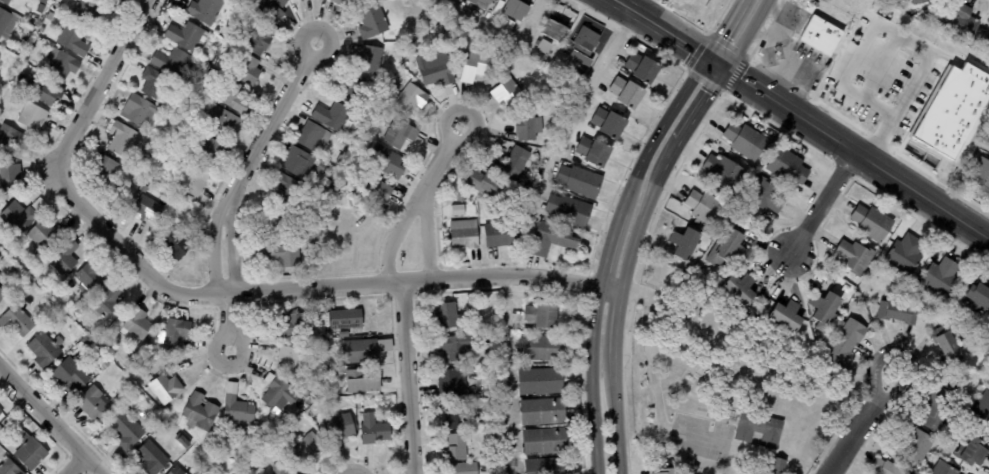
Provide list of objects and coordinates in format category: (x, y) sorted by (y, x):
building: (299, 0)
building: (7, 1)
building: (112, 1)
building: (917, 1)
building: (348, 2)
building: (482, 3)
building: (810, 7)
building: (273, 9)
building: (517, 9)
building: (208, 10)
building: (89, 15)
building: (51, 16)
building: (374, 22)
road: (530, 22)
building: (955, 22)
building: (8, 23)
building: (509, 26)
road: (660, 27)
road: (778, 27)
road: (723, 28)
building: (440, 30)
building: (553, 30)
building: (41, 33)
road: (745, 34)
building: (190, 35)
road: (901, 35)
building: (234, 36)
building: (820, 36)
building: (263, 39)
building: (75, 40)
building: (986, 41)
road: (515, 42)
building: (25, 44)
building: (545, 46)
building: (33, 48)
building: (584, 49)
building: (26, 58)
building: (373, 60)
building: (174, 61)
road: (715, 62)
road: (800, 63)
building: (64, 64)
building: (476, 65)
building: (643, 68)
building: (249, 69)
building: (440, 73)
building: (211, 77)
building: (156, 83)
building: (355, 88)
building: (45, 93)
building: (510, 93)
building: (628, 93)
building: (235, 96)
building: (413, 100)
building: (951, 108)
building: (140, 110)
road: (578, 110)
building: (34, 117)
road: (273, 117)
building: (334, 117)
building: (222, 121)
building: (610, 124)
road: (662, 124)
building: (528, 125)
building: (186, 126)
building: (401, 135)
building: (315, 136)
building: (162, 137)
building: (13, 139)
building: (125, 140)
building: (743, 140)
building: (988, 142)
building: (182, 148)
building: (212, 152)
building: (595, 152)
road: (856, 153)
road: (440, 158)
building: (180, 160)
building: (342, 160)
building: (300, 162)
building: (389, 162)
building: (518, 162)
building: (784, 166)
building: (324, 168)
building: (106, 169)
building: (722, 173)
building: (373, 175)
building: (981, 177)
building: (11, 178)
building: (194, 179)
building: (582, 181)
building: (492, 186)
building: (286, 188)
building: (384, 190)
building: (763, 196)
building: (463, 199)
road: (822, 203)
building: (703, 207)
building: (149, 210)
building: (460, 210)
building: (572, 211)
building: (485, 213)
building: (21, 218)
building: (734, 218)
building: (277, 222)
building: (870, 222)
road: (395, 232)
road: (427, 234)
building: (465, 235)
building: (499, 235)
building: (49, 236)
building: (554, 238)
road: (609, 239)
road: (212, 241)
road: (233, 243)
building: (177, 244)
building: (683, 244)
building: (728, 250)
building: (904, 254)
building: (66, 257)
building: (286, 257)
building: (852, 257)
road: (628, 259)
building: (939, 278)
building: (92, 279)
building: (842, 286)
road: (610, 287)
building: (737, 288)
road: (200, 294)
building: (3, 295)
building: (975, 296)
building: (82, 305)
building: (111, 306)
building: (823, 310)
building: (895, 313)
building: (935, 313)
building: (448, 316)
building: (784, 316)
building: (924, 317)
building: (539, 318)
building: (348, 319)
building: (19, 320)
road: (226, 321)
building: (139, 323)
building: (295, 326)
building: (324, 331)
building: (178, 332)
building: (346, 335)
building: (843, 340)
building: (87, 341)
building: (943, 346)
building: (457, 348)
building: (542, 348)
building: (47, 349)
building: (366, 350)
building: (324, 353)
building: (135, 358)
building: (289, 360)
building: (311, 369)
building: (73, 373)
road: (505, 374)
road: (407, 377)
road: (591, 379)
building: (544, 381)
building: (364, 383)
building: (454, 383)
building: (168, 389)
building: (281, 395)
building: (95, 405)
building: (937, 408)
building: (238, 411)
building: (1, 412)
building: (203, 412)
building: (981, 412)
building: (544, 413)
building: (458, 418)
road: (51, 421)
building: (1, 428)
building: (342, 428)
road: (862, 428)
building: (375, 430)
building: (757, 430)
building: (128, 431)
building: (268, 436)
building: (493, 436)
building: (261, 441)
building: (545, 442)
building: (914, 446)
building: (310, 448)
building: (459, 448)
building: (32, 452)
building: (970, 453)
building: (155, 459)
road: (75, 465)
building: (548, 466)
building: (774, 466)
building: (10, 468)
building: (494, 468)
building: (882, 468)
building: (283, 469)
building: (463, 469)
building: (940, 469)
building: (178, 470)
building: (666, 471)

